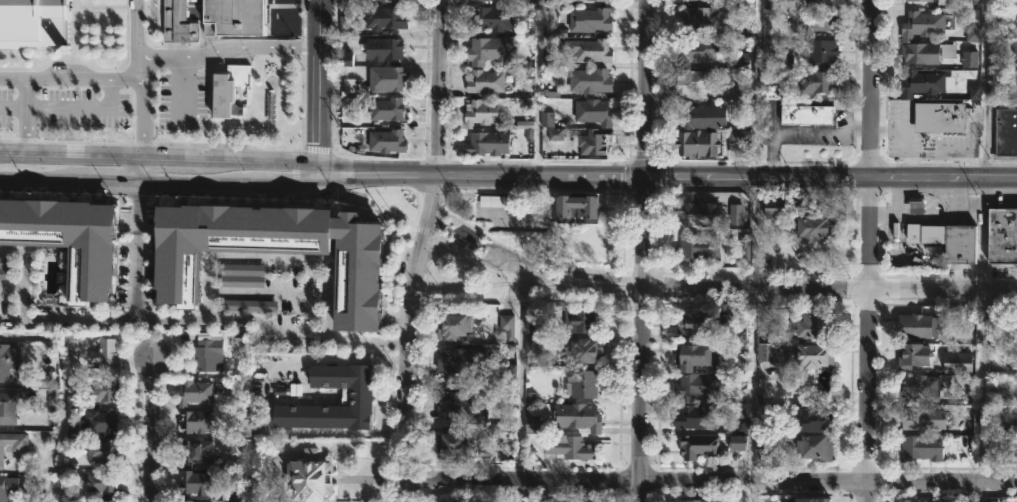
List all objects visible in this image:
building: (485, 0)
building: (695, 0)
building: (384, 1)
building: (589, 1)
building: (812, 1)
building: (919, 1)
building: (233, 18)
building: (700, 18)
building: (382, 19)
building: (489, 20)
building: (589, 20)
building: (35, 21)
building: (178, 23)
building: (803, 24)
building: (921, 26)
building: (972, 35)
building: (381, 49)
building: (1015, 49)
building: (489, 50)
building: (818, 50)
building: (587, 51)
building: (697, 51)
building: (926, 53)
road: (200, 58)
building: (969, 59)
building: (737, 60)
building: (383, 79)
road: (71, 80)
building: (485, 80)
building: (817, 80)
building: (589, 81)
building: (691, 81)
building: (924, 85)
building: (742, 86)
road: (319, 89)
building: (227, 90)
road: (757, 90)
road: (984, 90)
road: (182, 91)
building: (974, 92)
parking lot: (62, 96)
road: (847, 105)
road: (69, 106)
road: (143, 109)
building: (387, 109)
building: (480, 112)
building: (592, 112)
building: (693, 115)
building: (807, 115)
road: (27, 118)
building: (940, 118)
building: (547, 119)
building: (555, 134)
road: (800, 135)
building: (1006, 135)
building: (385, 137)
building: (739, 141)
building: (487, 142)
building: (696, 142)
building: (590, 143)
road: (160, 161)
road: (141, 172)
road: (440, 179)
road: (605, 179)
traffic signals: (646, 179)
road: (686, 179)
road: (871, 181)
road: (158, 184)
building: (575, 207)
building: (774, 207)
building: (916, 207)
road: (139, 208)
building: (699, 213)
building: (736, 214)
building: (813, 225)
building: (1002, 234)
road: (982, 236)
building: (947, 239)
building: (72, 242)
road: (474, 246)
road: (12, 247)
building: (698, 247)
road: (421, 250)
road: (870, 250)
road: (646, 251)
road: (328, 266)
road: (138, 274)
building: (363, 277)
road: (268, 290)
road: (765, 291)
road: (207, 313)
road: (237, 315)
road: (11, 317)
road: (48, 317)
building: (580, 319)
building: (536, 320)
building: (698, 322)
building: (507, 324)
building: (453, 326)
building: (918, 326)
building: (813, 327)
road: (295, 330)
building: (741, 336)
road: (390, 341)
building: (533, 343)
building: (206, 349)
building: (584, 349)
building: (768, 351)
building: (815, 354)
building: (694, 355)
building: (104, 356)
building: (912, 356)
building: (7, 359)
building: (459, 361)
building: (957, 362)
road: (520, 375)
building: (583, 383)
building: (255, 384)
building: (697, 386)
building: (919, 388)
building: (103, 390)
building: (193, 392)
building: (359, 396)
road: (752, 396)
road: (981, 397)
building: (452, 402)
building: (9, 406)
building: (577, 416)
building: (696, 416)
building: (814, 419)
building: (921, 419)
building: (197, 421)
building: (98, 422)
building: (243, 423)
building: (738, 423)
building: (532, 424)
road: (59, 426)
road: (153, 430)
building: (738, 442)
building: (12, 443)
building: (451, 444)
building: (698, 445)
building: (816, 446)
building: (568, 447)
building: (919, 447)
building: (99, 449)
building: (194, 450)
building: (308, 477)
building: (98, 481)
road: (709, 481)
building: (200, 484)
building: (8, 488)
road: (518, 491)
building: (251, 496)
building: (808, 498)
building: (565, 500)
building: (587, 500)
building: (693, 500)
building: (910, 500)
building: (108, 501)
building: (191, 501)
building: (530, 501)

